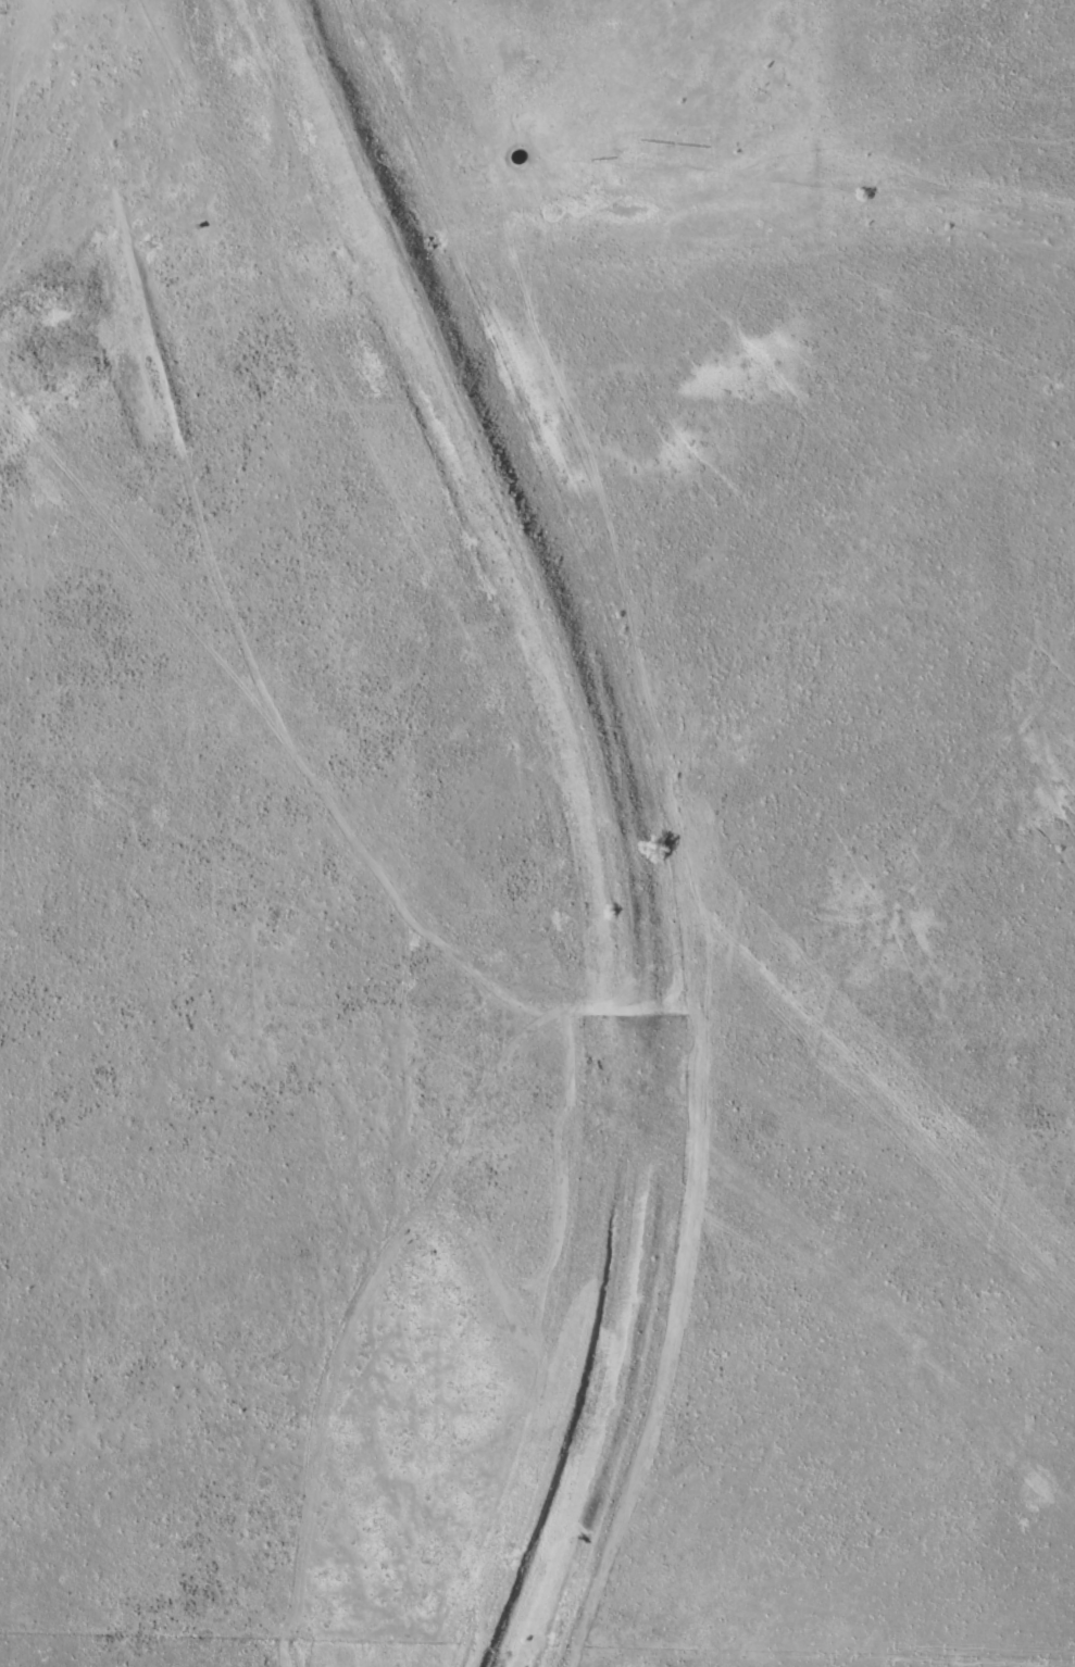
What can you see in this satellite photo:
railway: (609, 814)

